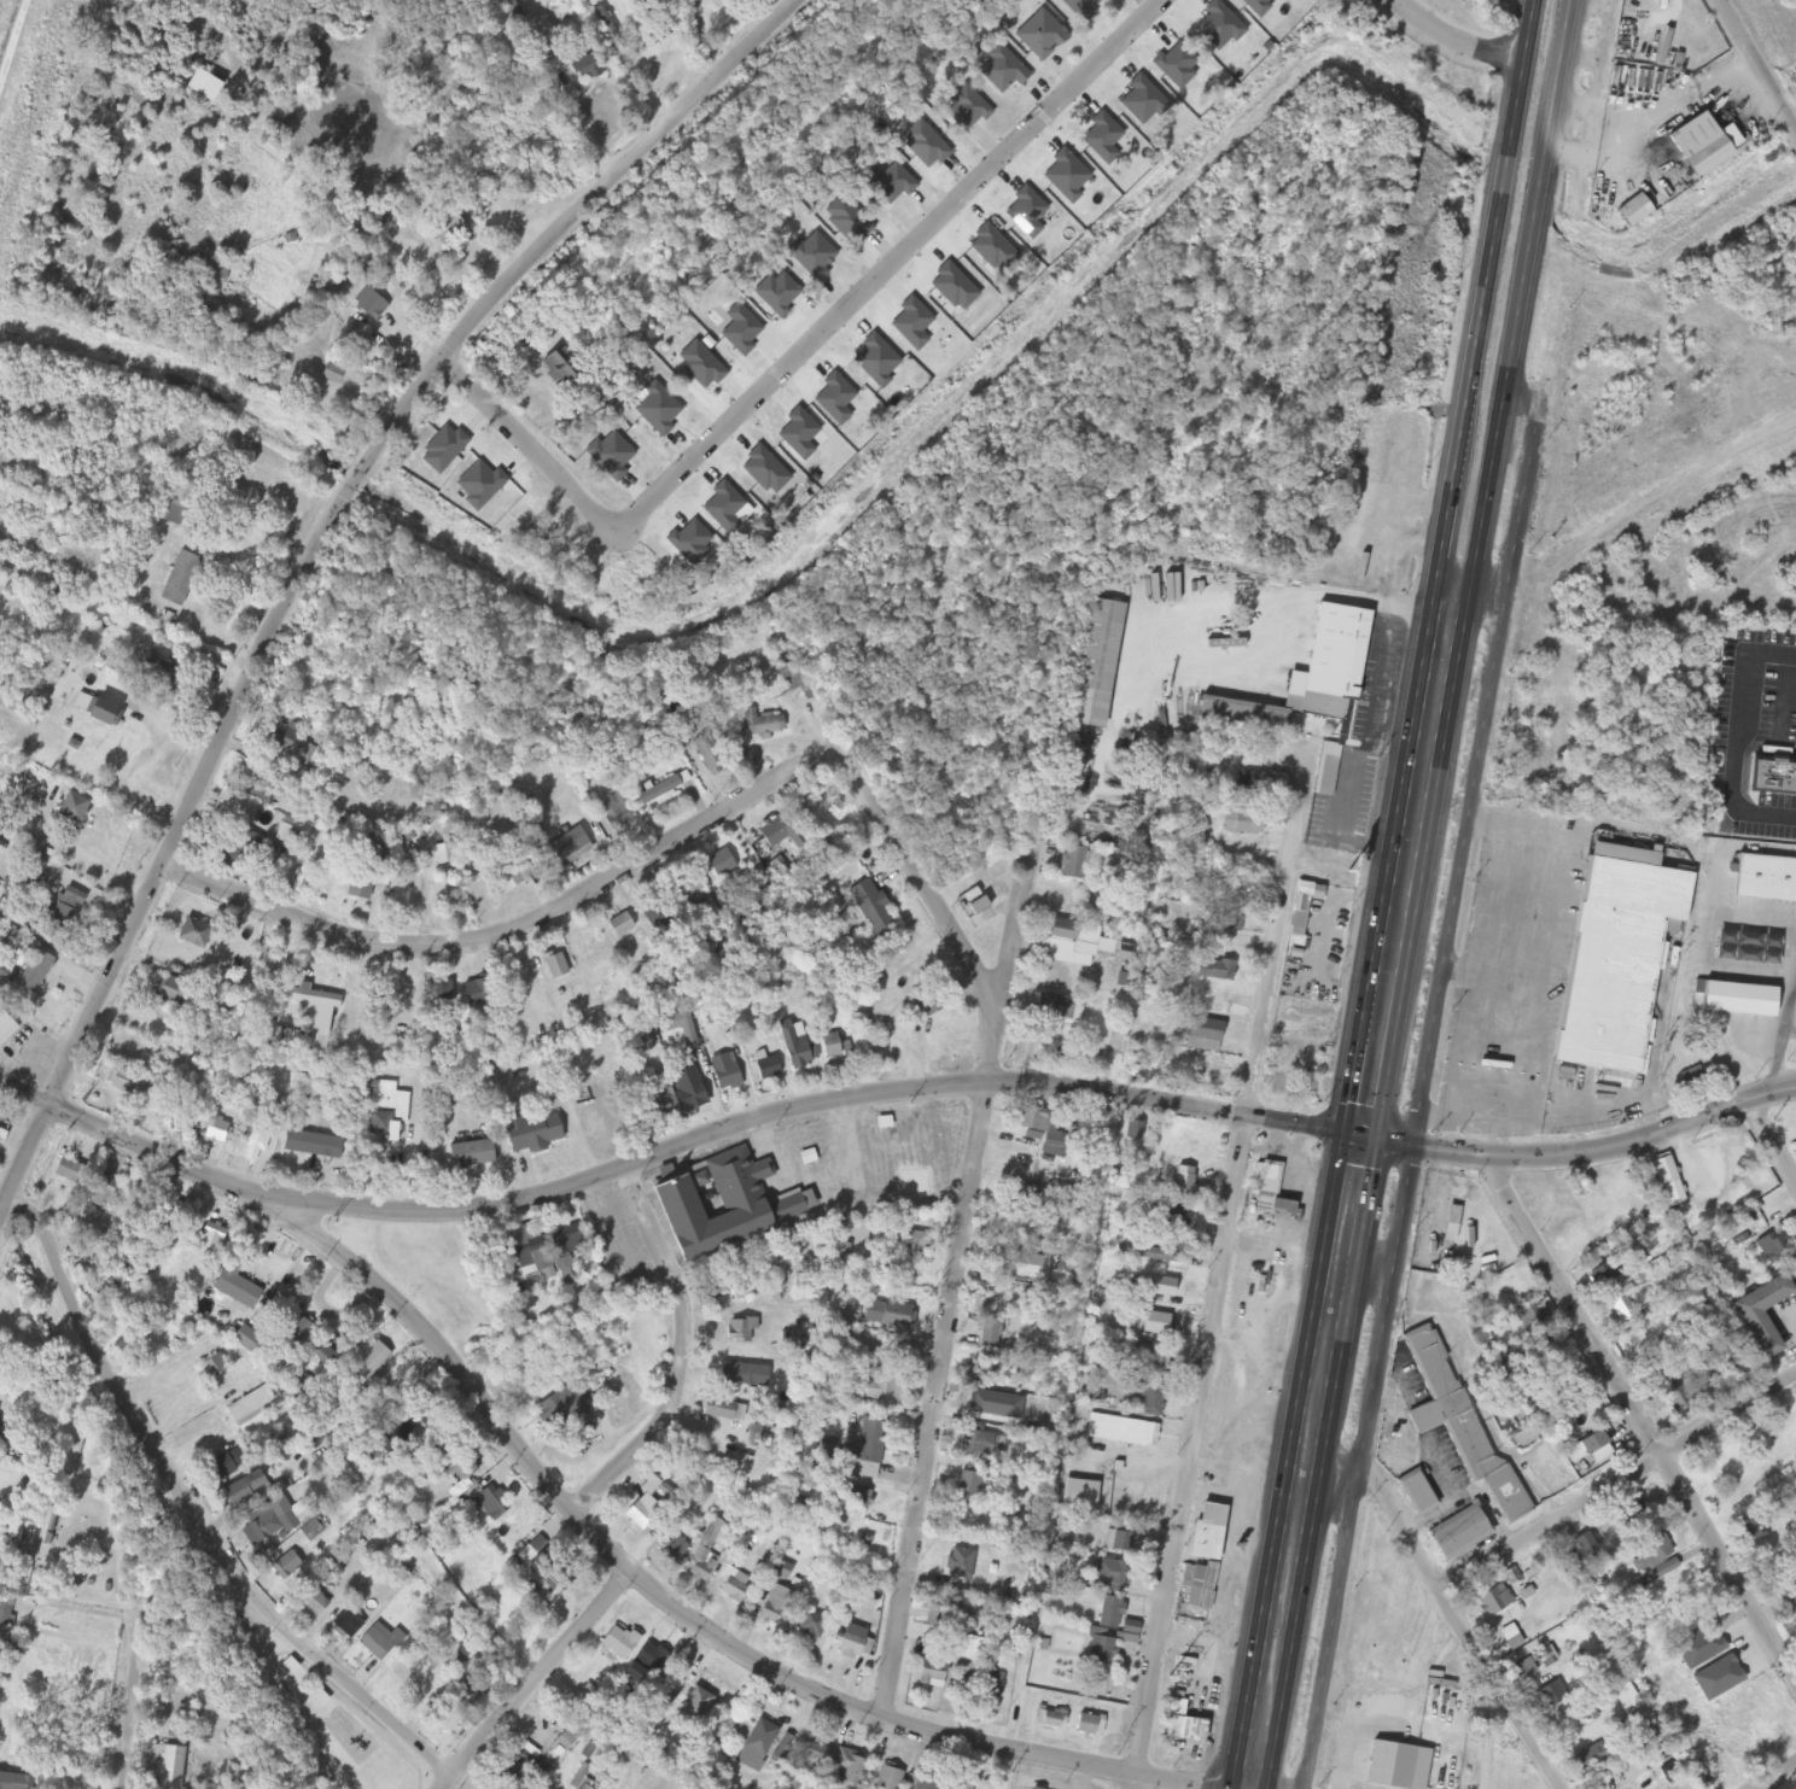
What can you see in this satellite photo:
building: (512, 11)
building: (606, 27)
railway: (11, 34)
road: (1482, 45)
road: (1757, 64)
building: (587, 68)
building: (1702, 145)
building: (521, 186)
building: (1632, 212)
building: (444, 228)
power tower: (1412, 252)
building: (368, 305)
road: (1482, 312)
road: (1520, 316)
road: (809, 358)
building: (560, 364)
building: (332, 374)
building: (1625, 444)
building: (103, 508)
building: (176, 508)
road: (315, 536)
building: (182, 578)
road: (1476, 590)
building: (1096, 665)
building: (162, 670)
building: (1308, 677)
building: (110, 712)
building: (762, 723)
power tower: (1329, 735)
building: (287, 739)
building: (707, 755)
building: (1325, 774)
building: (1184, 778)
building: (1253, 784)
building: (1780, 784)
building: (658, 791)
building: (75, 808)
building: (613, 814)
building: (1241, 824)
building: (287, 830)
building: (779, 832)
building: (234, 843)
building: (566, 846)
building: (1071, 864)
building: (719, 865)
road: (915, 872)
building: (506, 877)
building: (1765, 881)
building: (362, 884)
building: (684, 890)
building: (870, 908)
building: (68, 911)
building: (728, 914)
building: (1225, 920)
building: (1296, 923)
building: (619, 926)
road: (513, 929)
building: (196, 934)
building: (1080, 943)
building: (1616, 964)
building: (554, 967)
building: (36, 971)
building: (1214, 971)
building: (171, 992)
building: (482, 994)
building: (313, 998)
building: (931, 1002)
building: (229, 1010)
building: (1056, 1012)
building: (6, 1027)
building: (676, 1027)
building: (1202, 1036)
building: (794, 1046)
building: (828, 1047)
building: (765, 1069)
building: (725, 1077)
building: (127, 1081)
building: (687, 1091)
road: (1422, 1092)
building: (450, 1093)
road: (811, 1098)
building: (657, 1106)
building: (387, 1111)
building: (216, 1130)
building: (536, 1132)
building: (1044, 1132)
building: (1132, 1132)
road: (138, 1139)
building: (257, 1139)
traffic signals: (1358, 1140)
road: (1772, 1140)
building: (314, 1144)
building: (424, 1153)
building: (473, 1154)
road: (1581, 1154)
building: (70, 1170)
building: (1668, 1182)
power tower: (1252, 1187)
building: (1270, 1192)
building: (1020, 1193)
building: (103, 1194)
building: (725, 1206)
road: (1346, 1209)
building: (183, 1215)
building: (1176, 1217)
building: (1451, 1226)
building: (1024, 1230)
building: (211, 1236)
building: (567, 1243)
building: (914, 1250)
building: (532, 1252)
building: (1160, 1257)
building: (1017, 1265)
road: (1365, 1268)
building: (1605, 1274)
road: (951, 1281)
building: (727, 1284)
building: (99, 1285)
building: (238, 1287)
building: (1621, 1304)
road: (1207, 1312)
building: (1761, 1316)
building: (894, 1317)
building: (1527, 1320)
building: (298, 1332)
building: (739, 1332)
building: (990, 1335)
building: (247, 1339)
building: (320, 1354)
road: (680, 1354)
building: (1154, 1360)
building: (216, 1368)
building: (985, 1370)
building: (741, 1376)
building: (876, 1390)
building: (1678, 1392)
building: (1149, 1402)
building: (256, 1408)
building: (562, 1408)
building: (717, 1411)
building: (1032, 1414)
road: (1638, 1420)
building: (7, 1427)
building: (1121, 1432)
building: (387, 1440)
building: (442, 1442)
building: (978, 1444)
building: (1588, 1449)
building: (865, 1451)
building: (1468, 1455)
building: (227, 1463)
building: (461, 1469)
building: (969, 1479)
road: (1616, 1480)
building: (246, 1490)
building: (1416, 1495)
building: (853, 1497)
building: (492, 1503)
road: (187, 1506)
building: (642, 1512)
building: (1634, 1515)
building: (262, 1524)
building: (1753, 1527)
building: (1206, 1532)
building: (1118, 1542)
building: (1584, 1544)
building: (672, 1547)
building: (1650, 1554)
building: (704, 1557)
building: (960, 1565)
building: (286, 1566)
building: (780, 1569)
building: (555, 1573)
building: (1110, 1573)
building: (735, 1586)
building: (1200, 1586)
building: (1789, 1594)
building: (1494, 1600)
building: (315, 1603)
road: (1446, 1603)
building: (775, 1604)
road: (677, 1610)
building: (1109, 1613)
building: (935, 1619)
building: (346, 1624)
building: (811, 1625)
building: (381, 1643)
building: (618, 1643)
building: (853, 1644)
building: (1101, 1648)
building: (645, 1662)
building: (931, 1671)
road: (535, 1674)
power tower: (1168, 1678)
building: (992, 1685)
building: (1552, 1692)
building: (667, 1694)
road: (128, 1705)
building: (693, 1708)
building: (1046, 1719)
building: (450, 1721)
building: (1180, 1724)
building: (1084, 1725)
building: (1628, 1736)
building: (758, 1742)
building: (1590, 1758)
building: (814, 1759)
building: (518, 1766)
building: (170, 1767)
building: (847, 1770)
road: (1772, 1775)
building: (887, 1778)
building: (5, 1781)
road: (441, 1782)
road: (456, 1782)
building: (919, 1783)
building: (955, 1785)
building: (584, 1788)

